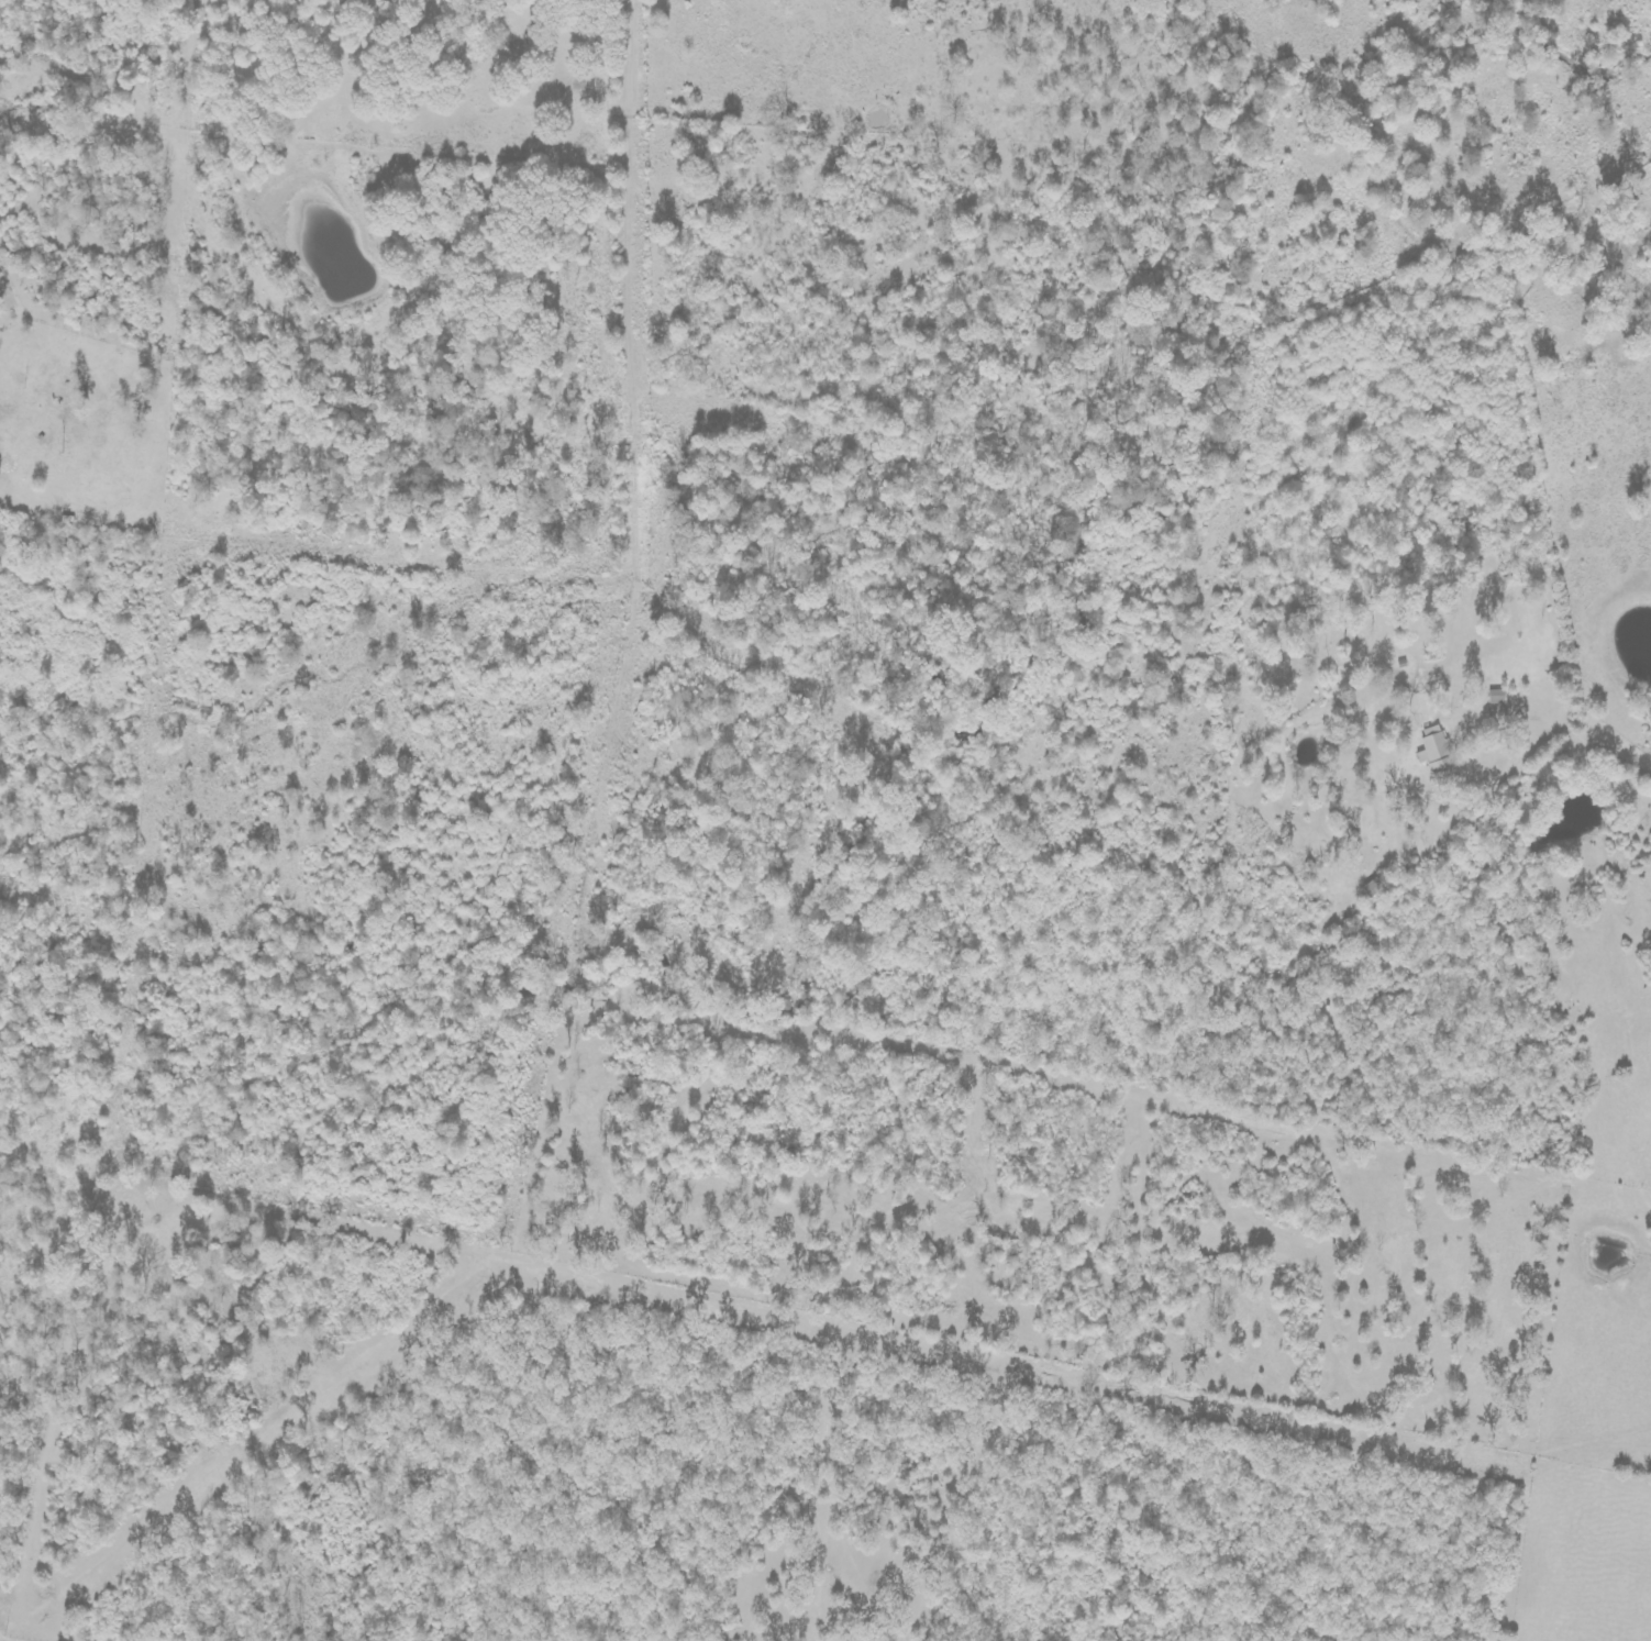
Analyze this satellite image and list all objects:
road: (634, 119)
building: (1437, 755)
road: (1625, 757)
building: (1377, 885)

